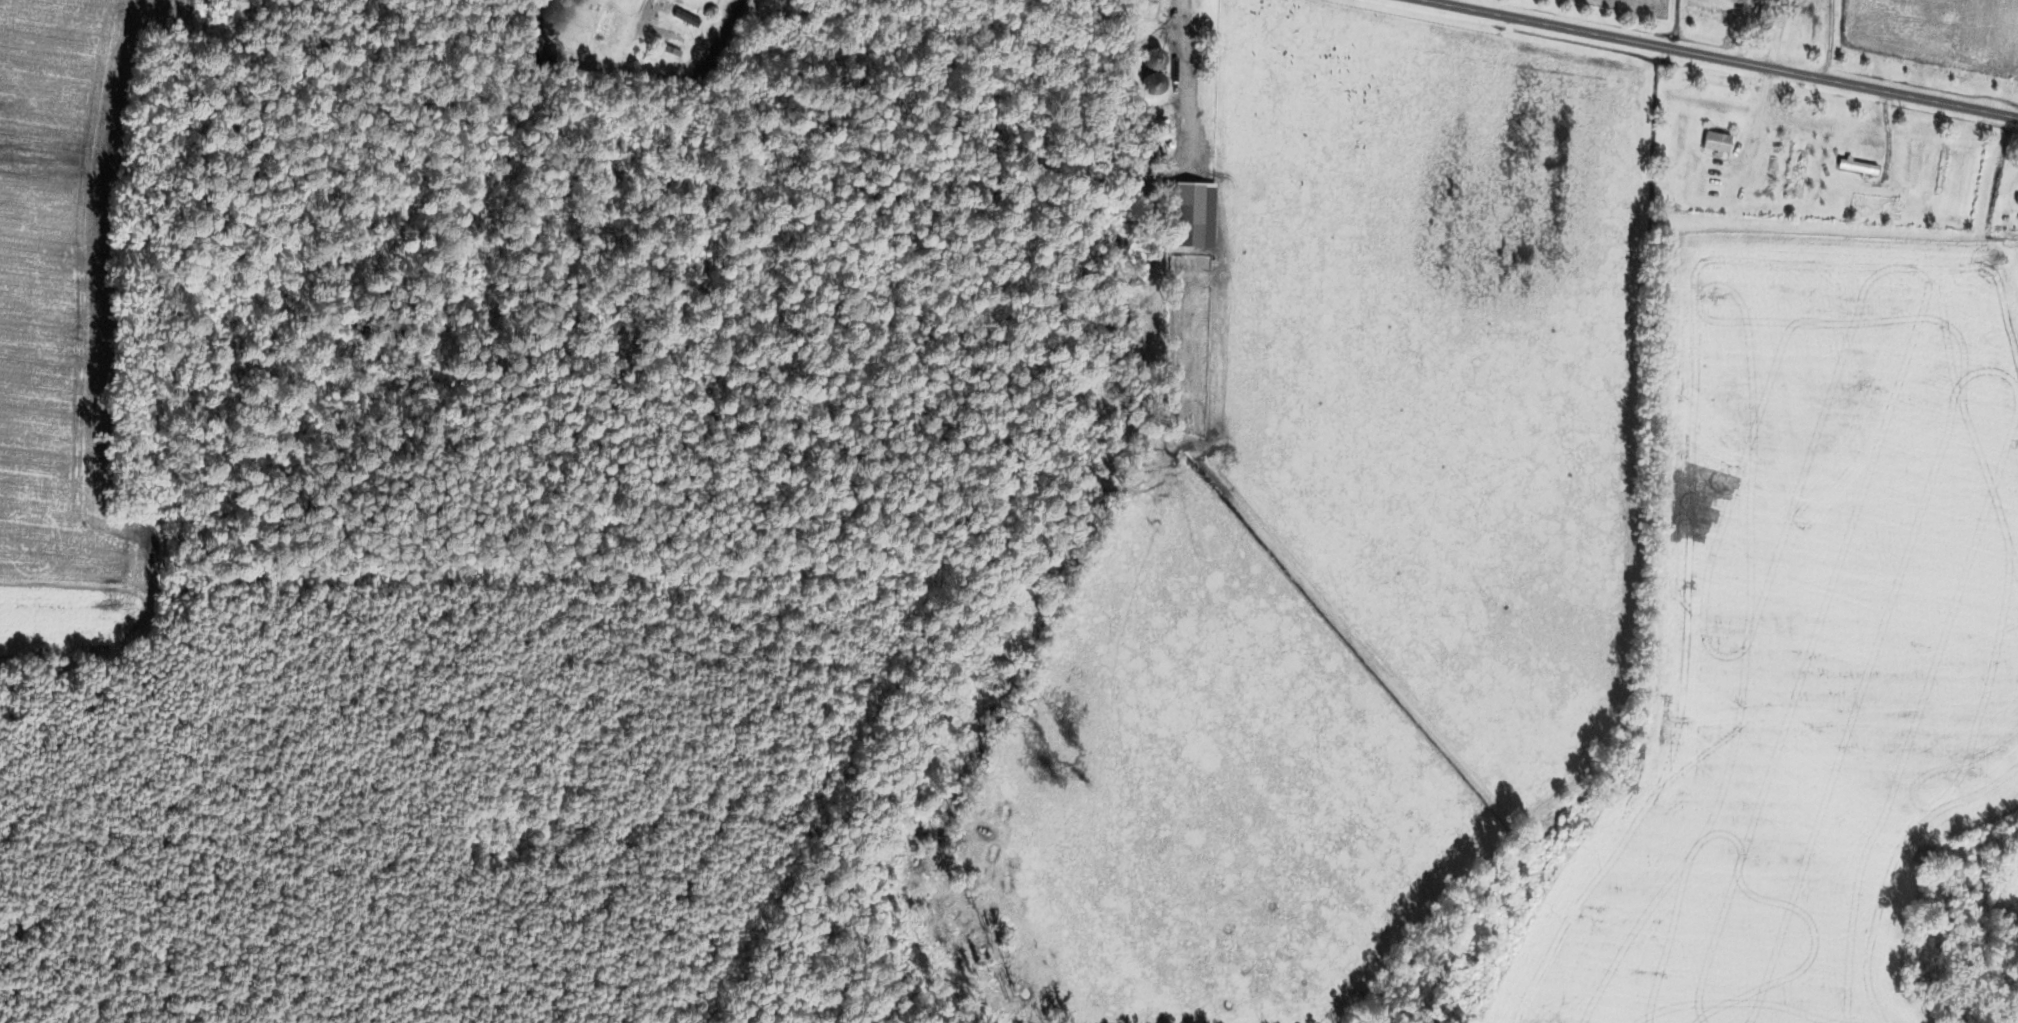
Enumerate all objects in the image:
building: (1708, 11)
building: (686, 18)
road: (639, 19)
road: (1718, 58)
building: (1717, 143)
building: (1858, 167)
building: (2016, 200)
building: (1188, 214)

